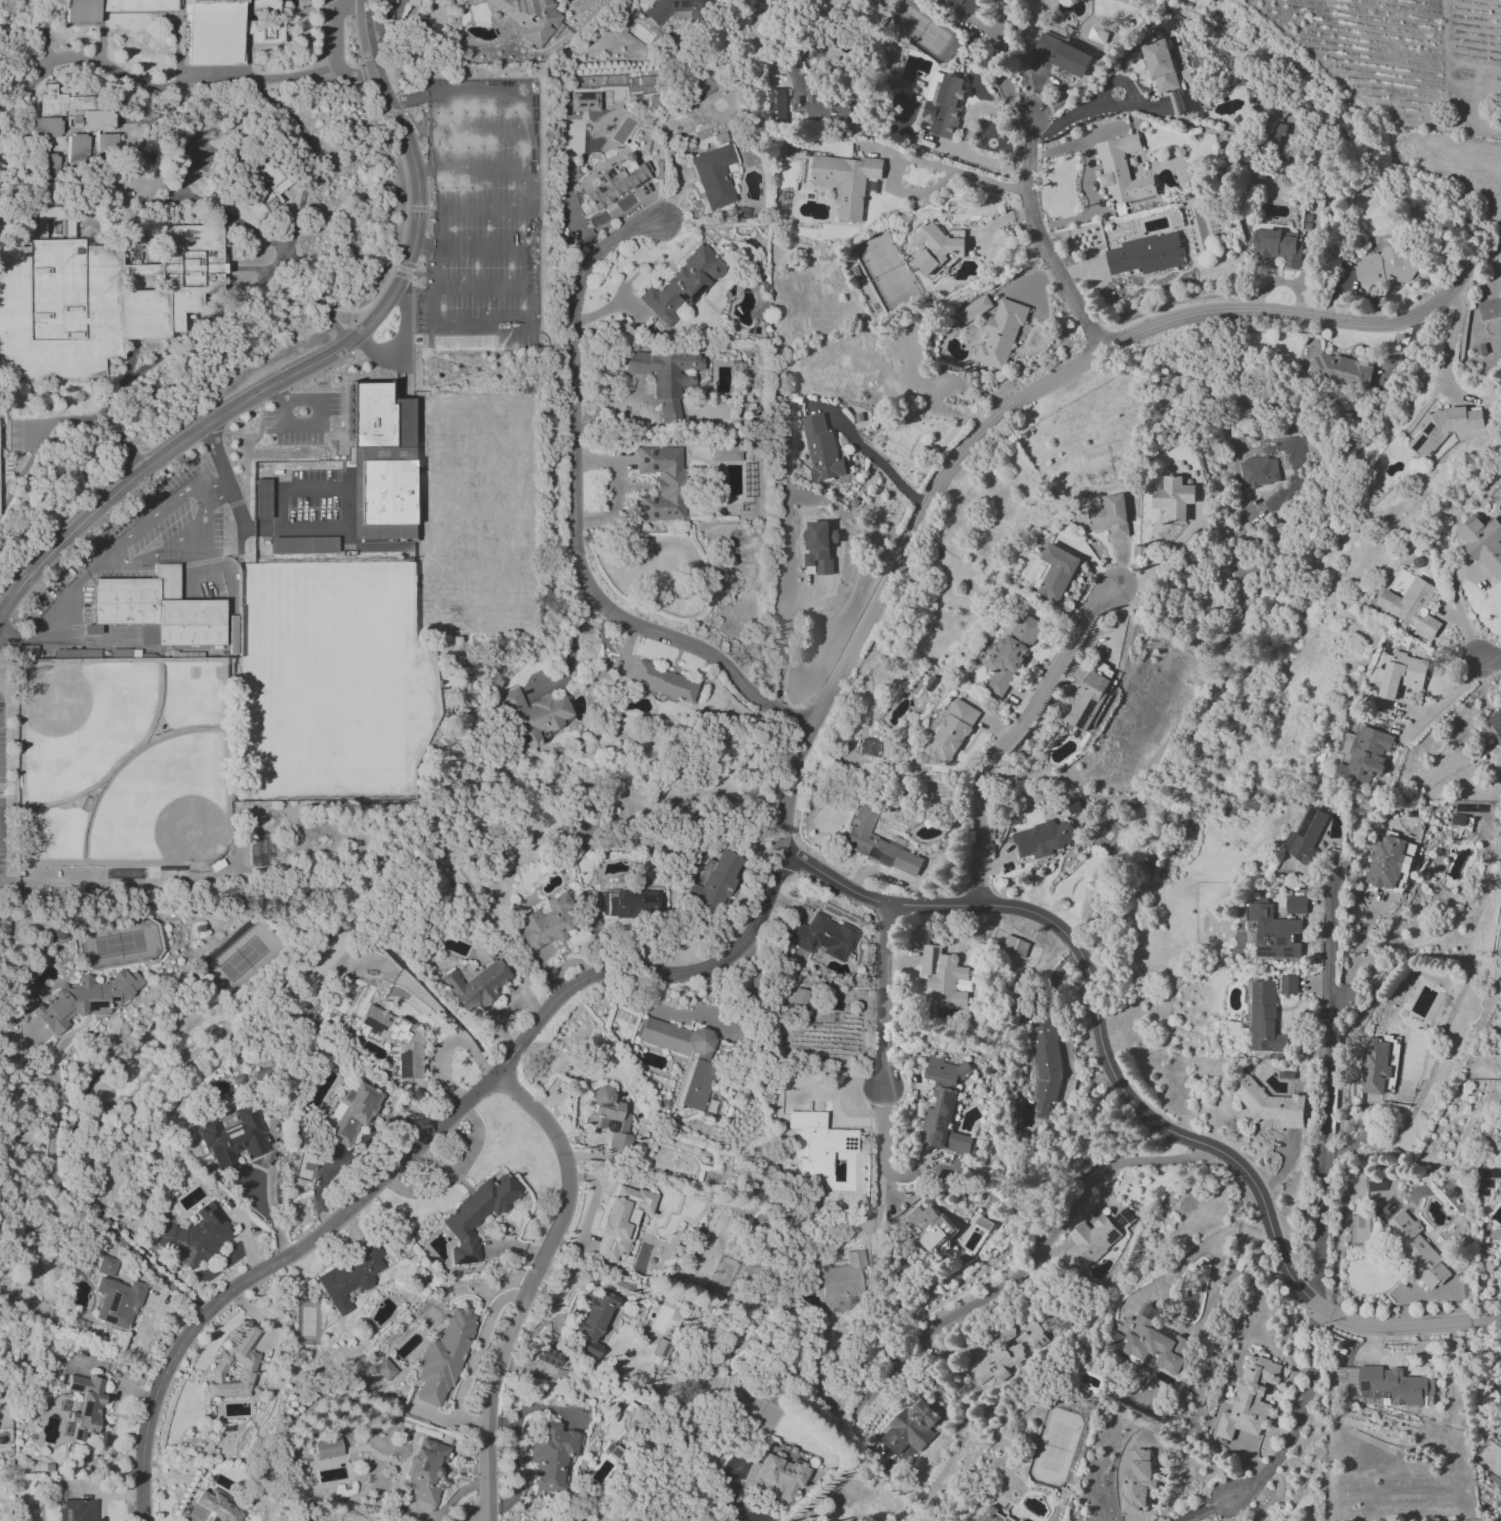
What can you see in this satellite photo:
building: (964, 5)
building: (114, 9)
building: (673, 10)
building: (529, 17)
road: (336, 23)
building: (226, 30)
road: (785, 50)
building: (1062, 54)
road: (998, 65)
road: (355, 76)
building: (1168, 76)
road: (162, 87)
building: (827, 104)
building: (943, 104)
road: (1094, 105)
building: (778, 110)
road: (529, 111)
building: (68, 132)
building: (610, 145)
parking lot: (193, 151)
road: (307, 155)
road: (914, 161)
building: (1289, 168)
road: (472, 169)
street lamp: (409, 170)
building: (1122, 170)
building: (713, 176)
building: (845, 181)
building: (274, 191)
road: (672, 198)
road: (504, 208)
road: (226, 214)
parking lot: (480, 218)
road: (15, 219)
road: (1042, 239)
building: (1277, 246)
building: (935, 249)
building: (1146, 254)
road: (432, 260)
building: (1387, 266)
building: (682, 284)
road: (481, 288)
road: (530, 289)
road: (314, 293)
building: (98, 296)
road: (617, 299)
building: (973, 308)
building: (1490, 309)
road: (334, 324)
street lamp: (383, 325)
building: (1000, 333)
road: (1453, 336)
road: (317, 361)
street lamp: (328, 367)
building: (1339, 370)
road: (365, 374)
building: (666, 377)
road: (1028, 396)
street lamp: (272, 399)
street lamp: (237, 420)
road: (76, 421)
parking lot: (33, 426)
building: (1443, 427)
road: (116, 429)
building: (823, 451)
road: (132, 452)
building: (725, 453)
road: (878, 461)
building: (381, 463)
building: (1258, 471)
building: (661, 483)
road: (616, 487)
building: (1173, 497)
building: (261, 499)
park: (474, 513)
building: (1109, 515)
road: (575, 516)
road: (129, 538)
building: (1482, 542)
building: (304, 545)
building: (819, 545)
building: (1057, 572)
building: (1400, 580)
parking lot: (145, 581)
road: (1456, 603)
building: (1412, 606)
road: (2, 608)
building: (158, 610)
road: (784, 641)
road: (570, 648)
building: (1011, 653)
road: (1492, 661)
building: (1401, 673)
park: (334, 681)
building: (663, 683)
road: (1446, 698)
building: (1088, 700)
building: (537, 716)
building: (1496, 721)
park: (83, 724)
building: (950, 732)
road: (1014, 733)
building: (867, 748)
building: (1362, 755)
park: (167, 804)
building: (1458, 819)
building: (1306, 834)
building: (1044, 838)
building: (877, 842)
building: (1386, 861)
building: (715, 879)
road: (873, 899)
building: (628, 903)
building: (1296, 904)
building: (546, 922)
building: (1274, 931)
building: (822, 937)
building: (1015, 946)
building: (944, 977)
building: (475, 984)
building: (1288, 984)
road: (883, 994)
building: (28, 995)
building: (798, 998)
building: (86, 999)
road: (744, 1004)
building: (1262, 1017)
road: (1095, 1021)
building: (396, 1040)
road: (447, 1045)
building: (1374, 1066)
building: (1045, 1068)
building: (694, 1080)
road: (1327, 1090)
building: (1500, 1094)
building: (1270, 1104)
building: (944, 1106)
building: (352, 1113)
building: (610, 1118)
building: (232, 1137)
road: (423, 1139)
road: (882, 1139)
building: (820, 1142)
road: (455, 1174)
road: (272, 1198)
road: (92, 1214)
building: (477, 1215)
road: (1063, 1218)
building: (621, 1221)
building: (927, 1226)
building: (198, 1236)
building: (1090, 1242)
building: (1416, 1249)
building: (107, 1266)
building: (843, 1276)
building: (349, 1277)
road: (531, 1284)
road: (1161, 1297)
building: (117, 1301)
road: (1316, 1303)
building: (592, 1326)
building: (1036, 1332)
building: (1154, 1341)
building: (661, 1348)
building: (443, 1357)
building: (552, 1357)
building: (998, 1362)
building: (235, 1366)
building: (385, 1369)
building: (1384, 1384)
building: (1497, 1384)
road: (871, 1388)
building: (1249, 1398)
building: (86, 1405)
building: (910, 1429)
road: (1294, 1440)
building: (327, 1448)
building: (551, 1456)
building: (426, 1471)
building: (778, 1475)
building: (1137, 1482)
road: (730, 1499)
building: (217, 1505)
building: (77, 1510)
building: (994, 1515)

